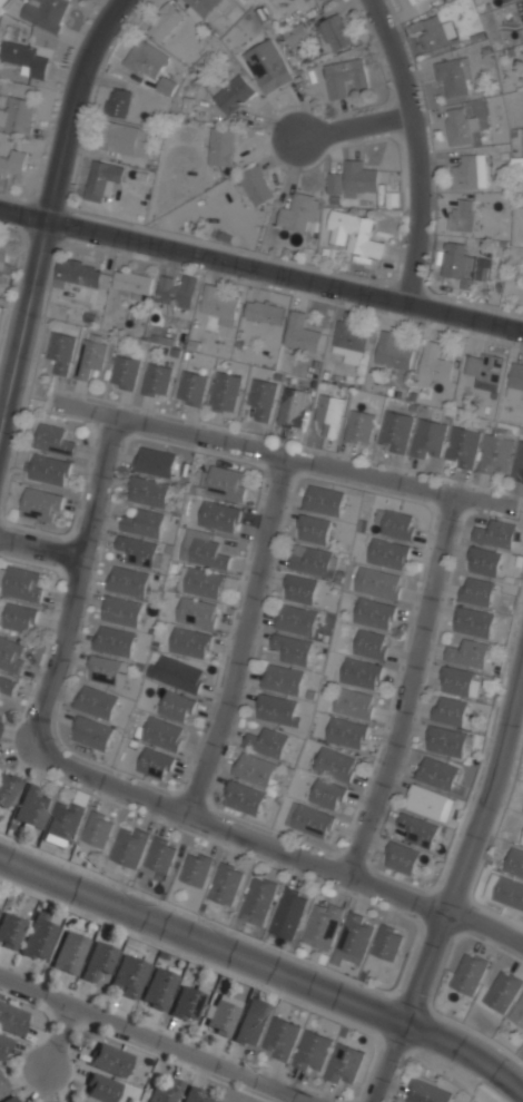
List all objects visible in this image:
building: (306, 0)
building: (505, 0)
building: (414, 1)
building: (2, 2)
building: (201, 6)
building: (521, 8)
building: (46, 13)
building: (164, 20)
building: (333, 31)
building: (295, 32)
building: (433, 32)
building: (30, 53)
building: (146, 58)
building: (268, 65)
building: (454, 76)
building: (346, 77)
building: (167, 85)
building: (234, 94)
building: (118, 102)
building: (17, 115)
road: (355, 122)
building: (461, 127)
building: (122, 138)
building: (220, 146)
road: (421, 146)
building: (12, 163)
building: (471, 171)
building: (359, 178)
building: (101, 180)
building: (334, 183)
building: (257, 185)
building: (300, 211)
road: (50, 214)
building: (462, 215)
building: (354, 233)
building: (3, 254)
building: (458, 262)
road: (261, 266)
building: (81, 273)
building: (134, 284)
building: (177, 291)
building: (219, 305)
building: (264, 312)
building: (300, 333)
building: (352, 335)
building: (60, 350)
building: (393, 352)
building: (90, 353)
building: (434, 362)
building: (484, 368)
building: (125, 372)
building: (156, 380)
building: (515, 380)
building: (191, 387)
building: (225, 392)
building: (261, 397)
building: (293, 406)
building: (329, 412)
building: (359, 426)
building: (394, 432)
building: (428, 439)
building: (53, 440)
building: (462, 446)
building: (496, 451)
road: (282, 452)
building: (155, 462)
building: (519, 462)
building: (49, 470)
building: (226, 483)
building: (148, 492)
building: (324, 500)
building: (41, 504)
building: (219, 515)
building: (144, 524)
building: (398, 524)
building: (314, 529)
building: (496, 533)
road: (41, 545)
building: (204, 551)
building: (139, 552)
building: (388, 553)
building: (313, 561)
building: (485, 561)
building: (127, 582)
building: (200, 582)
building: (378, 583)
building: (20, 584)
building: (300, 590)
road: (72, 591)
building: (477, 592)
building: (121, 612)
building: (197, 612)
building: (375, 613)
building: (19, 619)
building: (295, 621)
building: (474, 622)
road: (241, 634)
building: (115, 641)
building: (190, 642)
building: (372, 643)
building: (292, 649)
building: (468, 653)
building: (11, 656)
building: (106, 671)
building: (362, 673)
building: (179, 675)
building: (282, 680)
building: (461, 682)
road: (412, 686)
building: (7, 687)
building: (96, 702)
building: (354, 703)
building: (176, 707)
building: (277, 710)
building: (450, 712)
building: (346, 732)
building: (91, 734)
building: (161, 735)
building: (446, 742)
building: (267, 744)
building: (335, 764)
building: (155, 765)
building: (255, 770)
building: (436, 774)
building: (7, 789)
building: (327, 795)
building: (244, 798)
building: (427, 803)
building: (32, 808)
building: (65, 821)
building: (309, 821)
building: (97, 830)
building: (417, 832)
building: (522, 839)
road: (267, 843)
road: (466, 846)
building: (128, 848)
building: (160, 856)
building: (402, 858)
building: (514, 863)
building: (195, 870)
building: (225, 885)
building: (509, 894)
building: (257, 902)
building: (288, 914)
building: (320, 927)
building: (10, 931)
building: (38, 938)
building: (352, 941)
building: (386, 944)
building: (69, 953)
building: (97, 963)
road: (265, 968)
building: (468, 973)
building: (127, 977)
building: (157, 990)
building: (502, 991)
building: (186, 1003)
building: (517, 1012)
building: (220, 1019)
building: (11, 1020)
building: (251, 1024)
road: (62, 1034)
road: (154, 1039)
building: (280, 1039)
building: (3, 1047)
building: (313, 1052)
building: (109, 1060)
building: (345, 1064)
road: (385, 1064)
building: (2, 1085)
building: (99, 1089)
building: (164, 1092)
building: (426, 1093)
building: (195, 1095)
building: (9, 1100)

